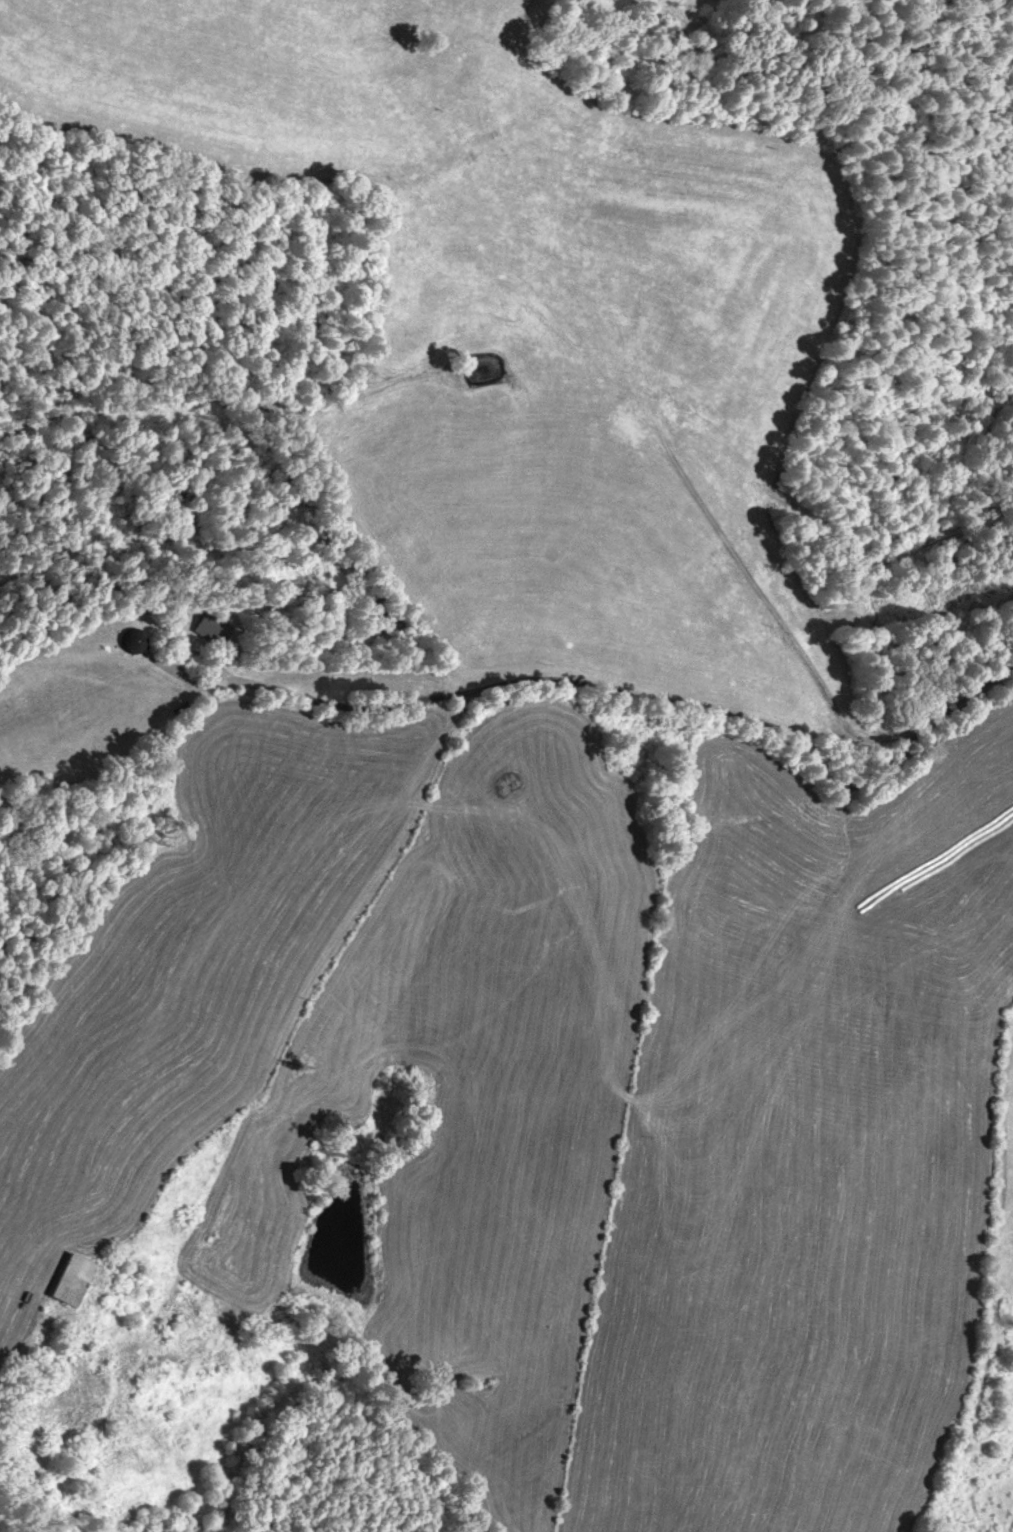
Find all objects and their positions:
building: (76, 1280)

